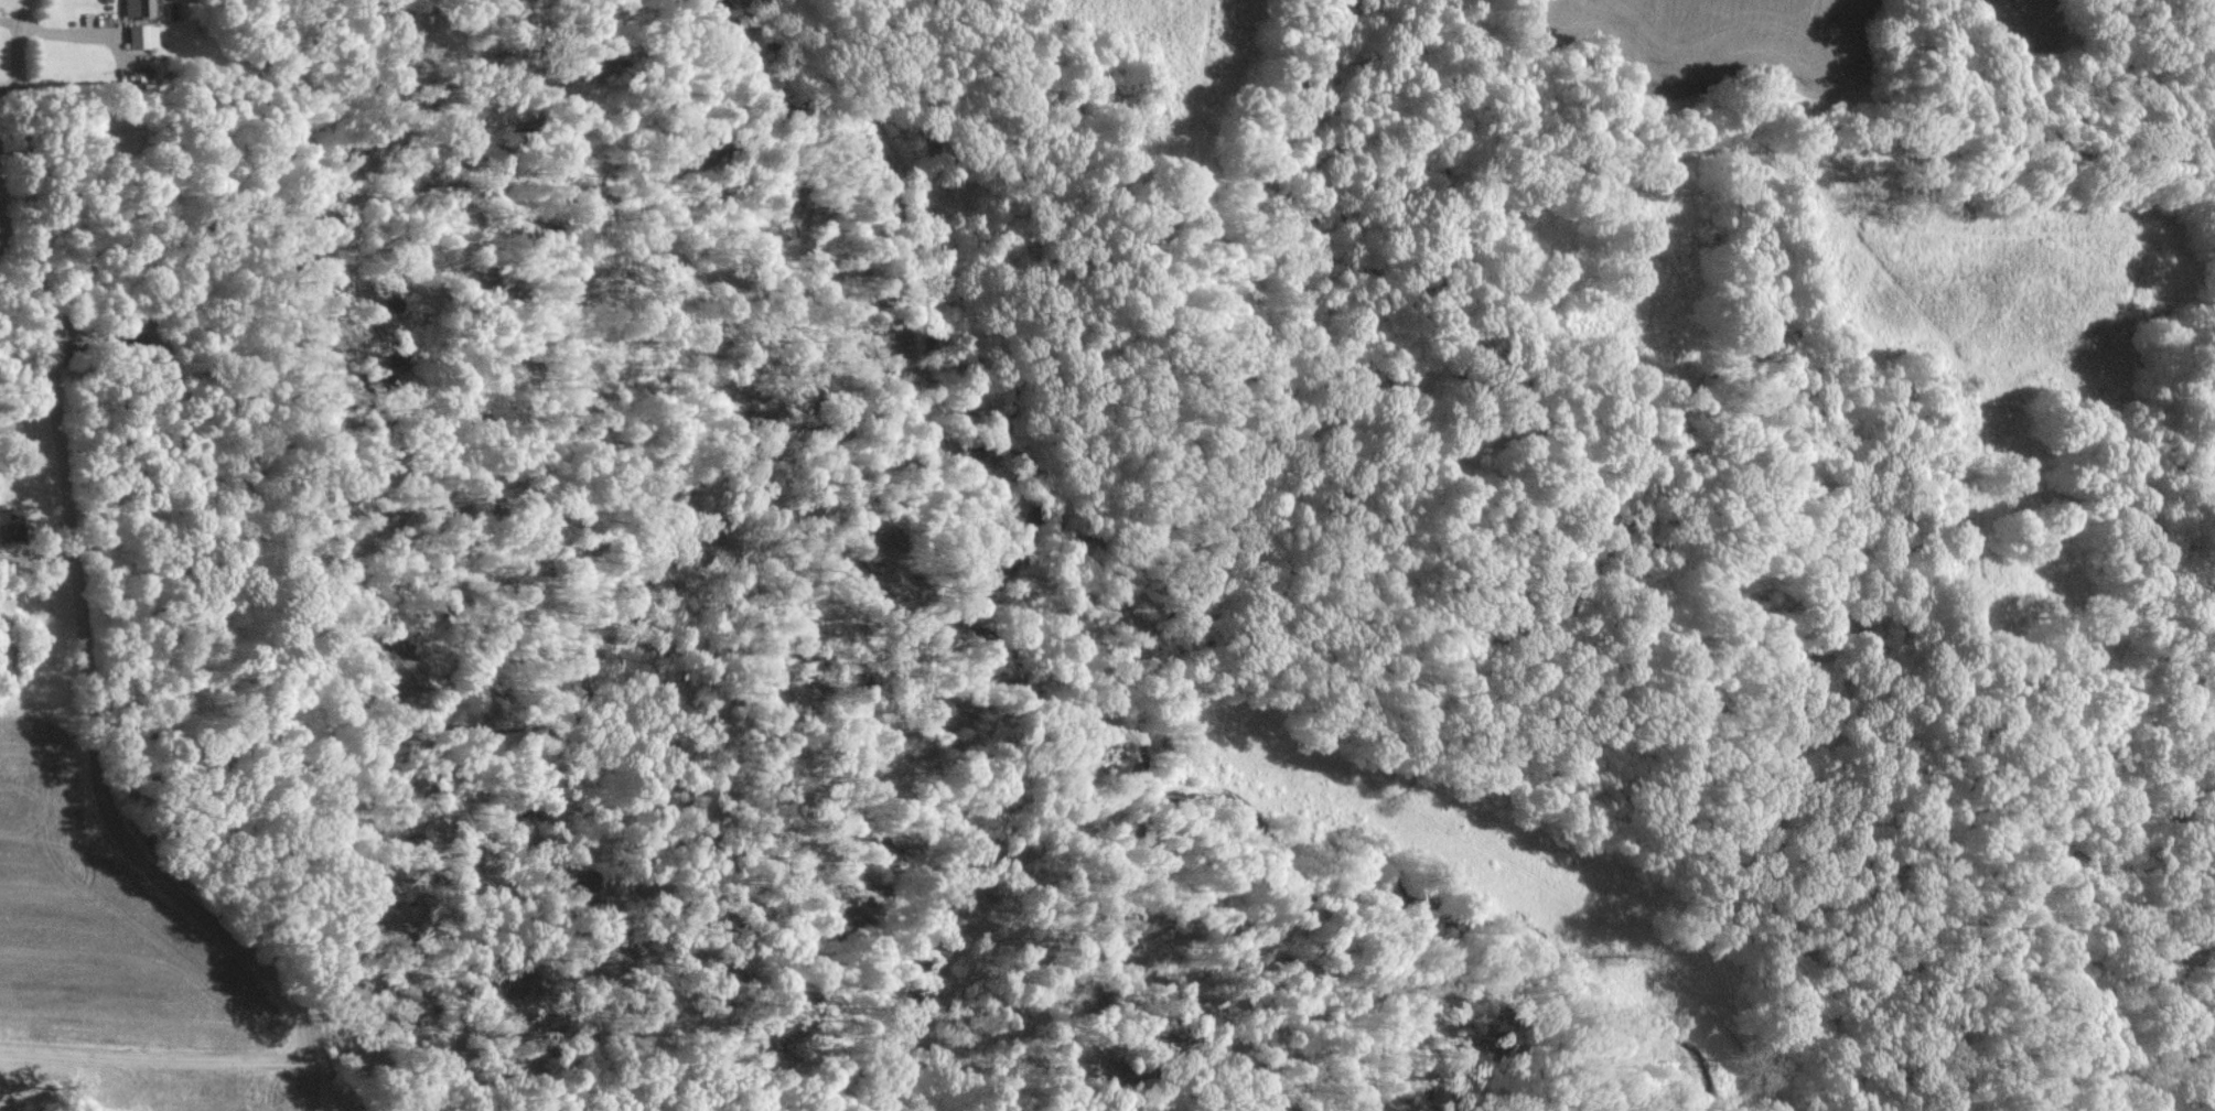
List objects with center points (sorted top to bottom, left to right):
building: (136, 35)
road: (2, 85)
building: (11, 429)
building: (10, 519)
road: (65, 595)
road: (150, 1056)

